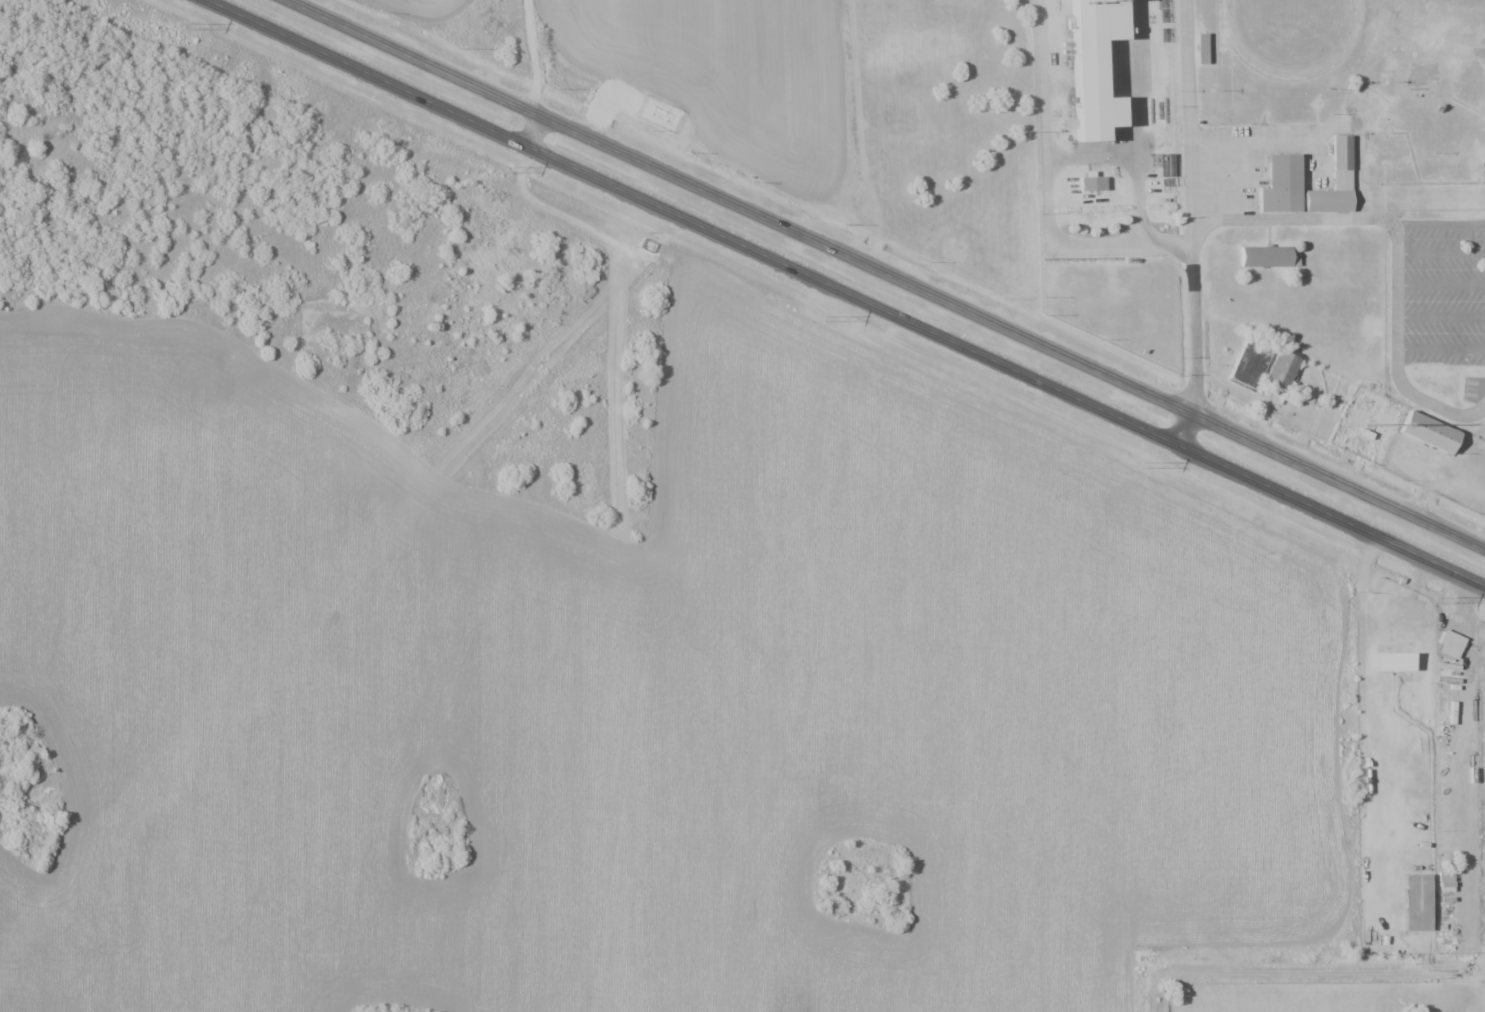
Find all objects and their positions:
crop: (434, 10)
power tower: (184, 26)
building: (1201, 48)
building: (1094, 66)
crop: (739, 80)
road: (1189, 110)
road: (531, 130)
power tower: (501, 169)
building: (1091, 183)
road: (1047, 185)
building: (1284, 186)
building: (1331, 203)
road: (1293, 220)
road: (1438, 224)
road: (1440, 254)
building: (1268, 257)
road: (885, 274)
road: (1440, 285)
road: (846, 293)
power tower: (822, 317)
road: (1195, 317)
road: (1440, 317)
road: (1440, 349)
road: (1396, 355)
building: (1245, 367)
building: (1281, 370)
road: (1180, 428)
building: (1435, 438)
power tower: (1139, 463)
power tower: (1435, 599)
building: (1451, 640)
crop: (634, 700)
building: (1444, 880)
building: (1416, 902)
road: (1306, 971)

